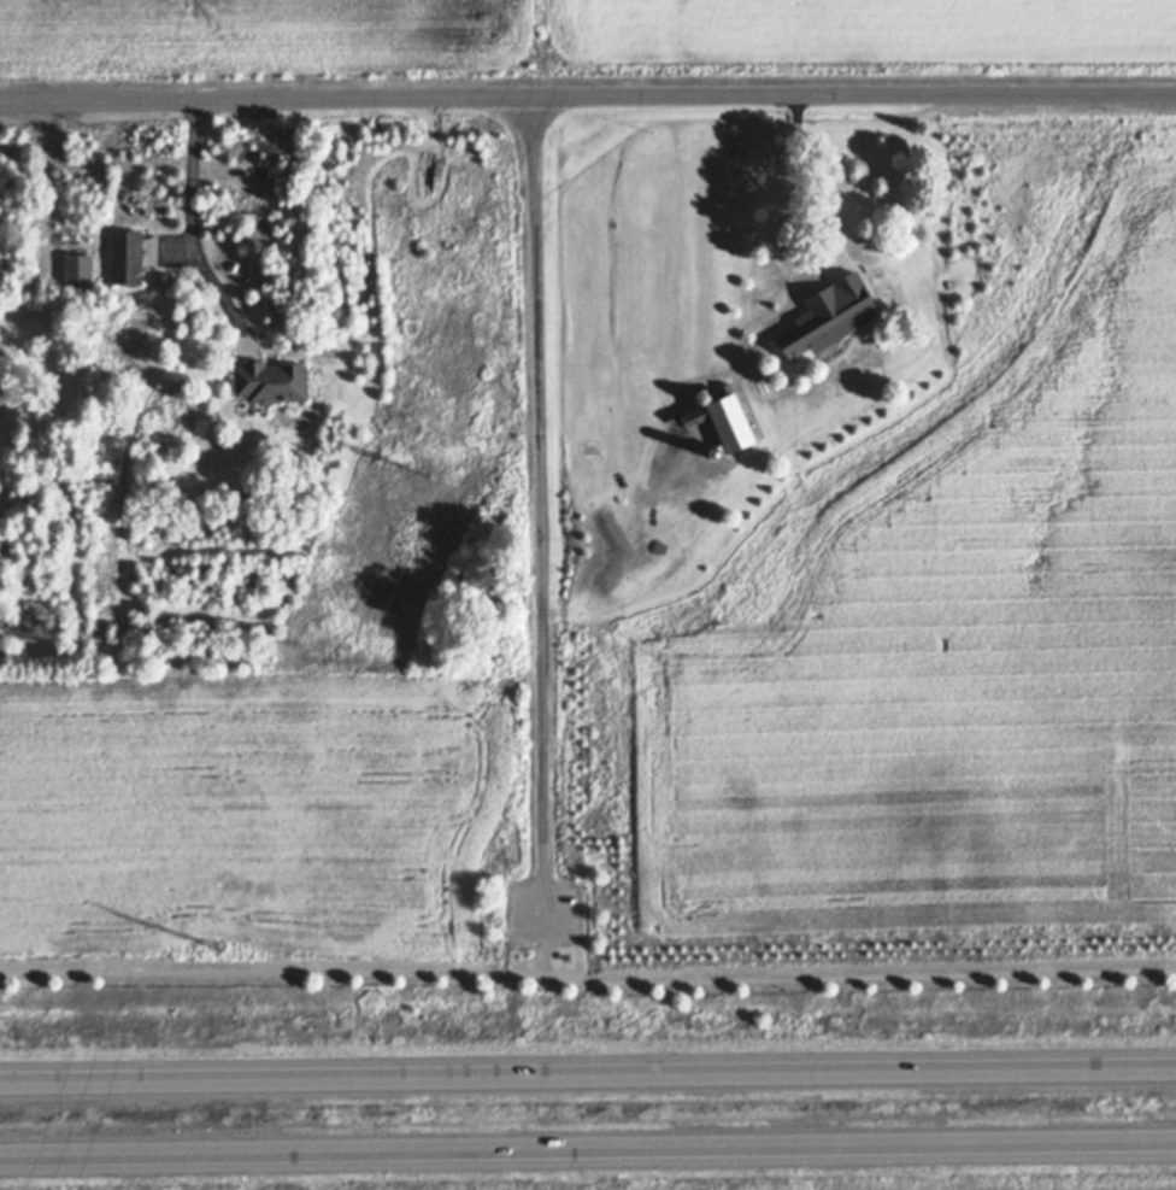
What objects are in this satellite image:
road: (587, 98)
road: (793, 190)
building: (261, 200)
building: (834, 207)
building: (849, 209)
building: (241, 219)
road: (190, 234)
building: (127, 257)
building: (853, 262)
building: (78, 269)
building: (858, 298)
building: (821, 322)
building: (828, 346)
building: (2, 367)
building: (274, 380)
building: (160, 391)
building: (261, 404)
building: (724, 421)
building: (716, 453)
power tower: (411, 468)
road: (540, 493)
parking lot: (543, 916)
road: (541, 918)
power tower: (214, 945)
road: (539, 962)
road: (587, 985)
road: (588, 1077)
road: (588, 1144)
building: (333, 1159)

